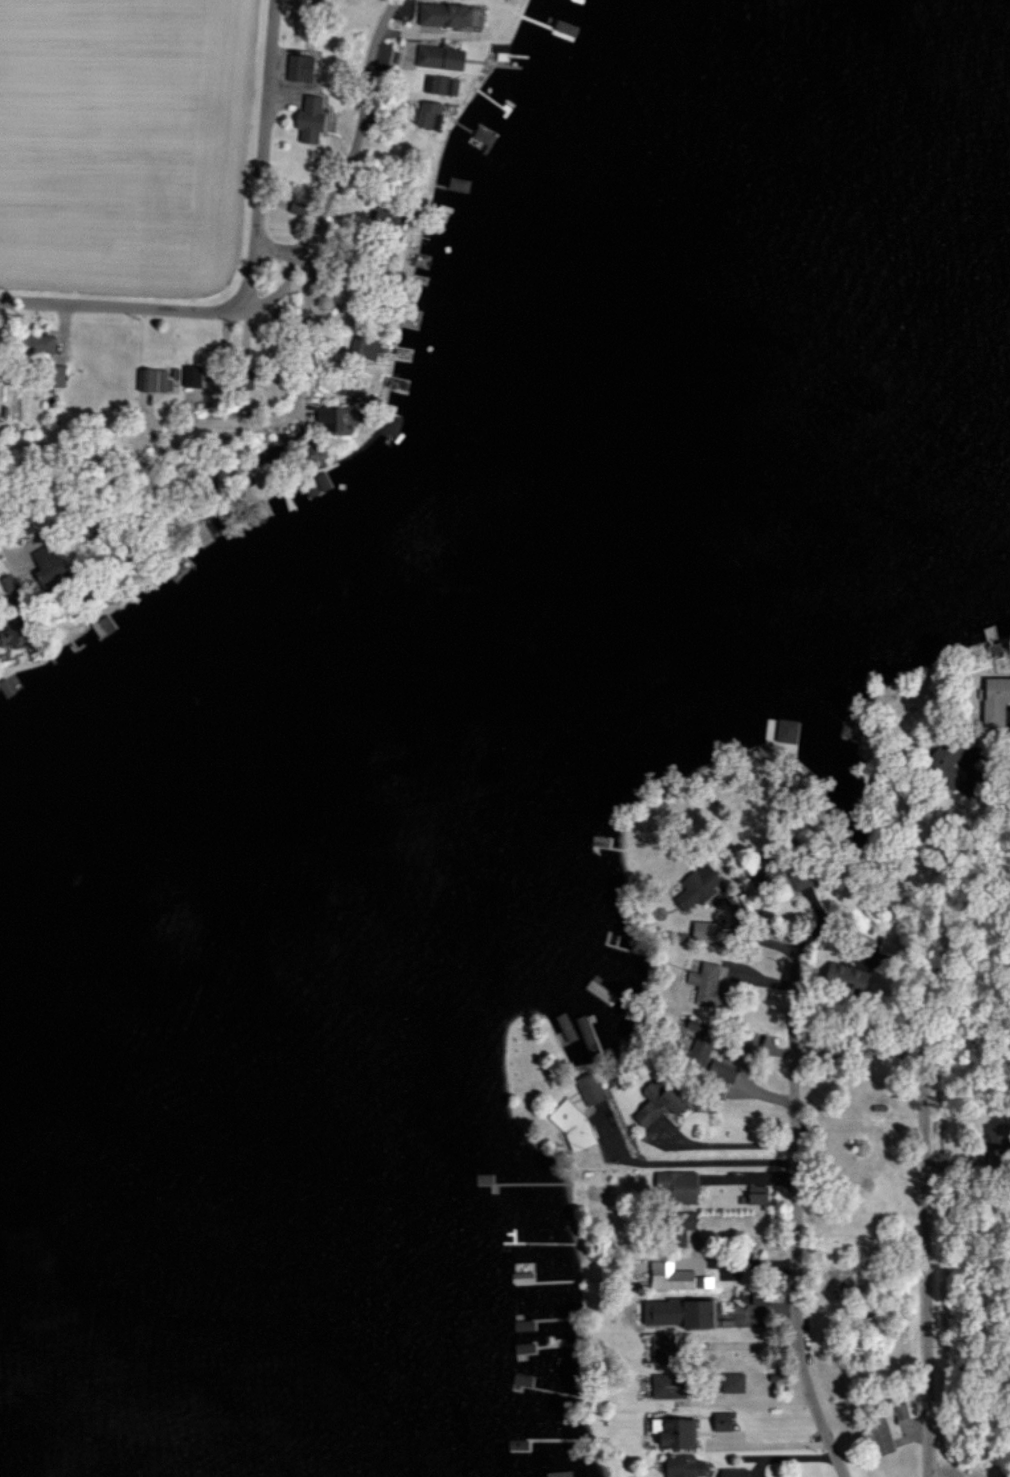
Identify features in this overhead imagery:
building: (443, 15)
building: (438, 57)
building: (299, 65)
building: (439, 84)
building: (428, 113)
building: (308, 118)
building: (481, 135)
road: (260, 146)
road: (358, 162)
building: (295, 207)
building: (387, 213)
road: (285, 248)
road: (129, 305)
building: (35, 343)
building: (363, 346)
building: (55, 376)
building: (196, 377)
building: (152, 379)
building: (344, 387)
building: (333, 415)
building: (389, 424)
road: (188, 429)
road: (9, 554)
building: (44, 563)
building: (995, 700)
road: (1005, 723)
building: (785, 730)
river: (365, 736)
road: (983, 788)
building: (798, 878)
building: (695, 887)
building: (704, 930)
road: (790, 960)
building: (846, 977)
building: (704, 983)
road: (860, 1047)
building: (698, 1049)
building: (720, 1075)
building: (588, 1088)
building: (656, 1103)
building: (571, 1125)
building: (997, 1137)
road: (713, 1139)
road: (677, 1159)
building: (674, 1187)
building: (756, 1194)
building: (679, 1225)
road: (925, 1261)
road: (789, 1266)
building: (521, 1277)
building: (674, 1277)
building: (676, 1313)
building: (731, 1383)
building: (666, 1386)
road: (703, 1399)
building: (721, 1421)
building: (674, 1432)
building: (876, 1436)
building: (683, 1466)
building: (732, 1472)

